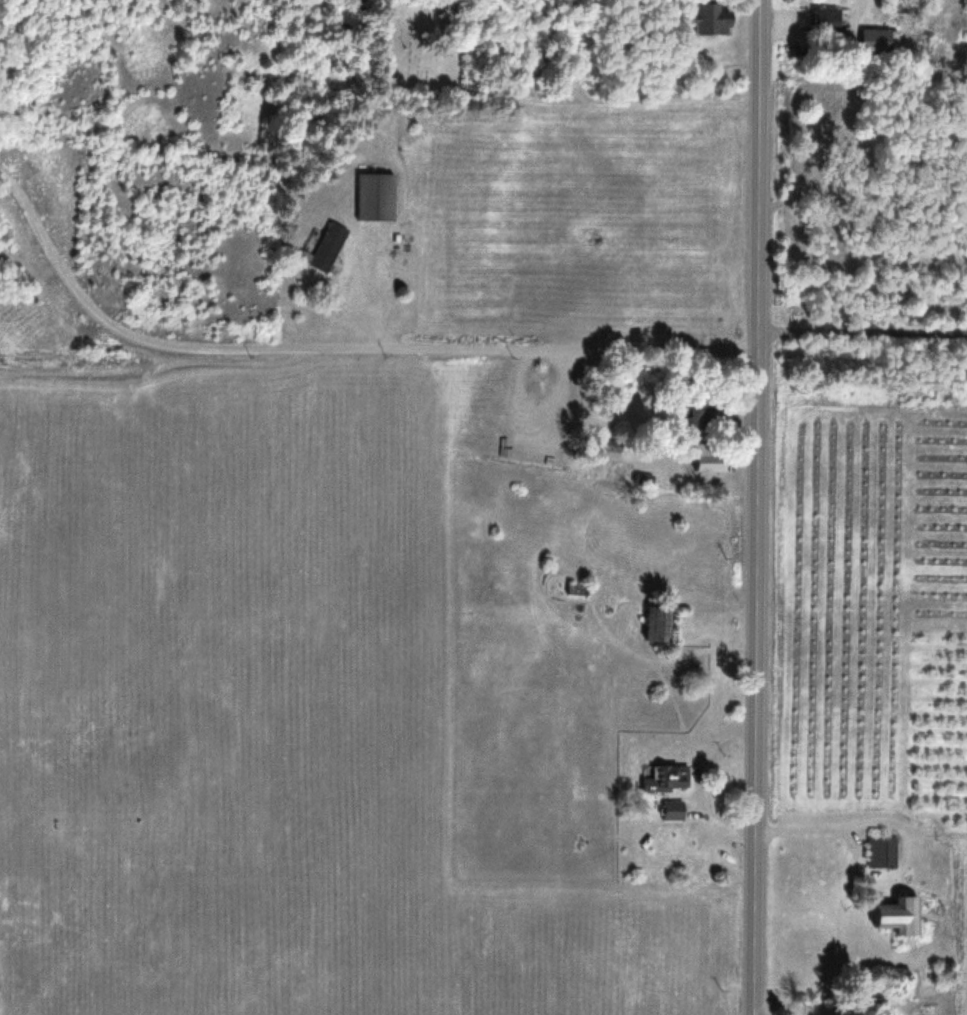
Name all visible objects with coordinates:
building: (716, 19)
building: (827, 19)
building: (878, 40)
road: (602, 99)
building: (851, 127)
building: (375, 197)
building: (327, 247)
road: (862, 331)
road: (335, 348)
building: (697, 409)
building: (706, 463)
road: (756, 507)
building: (578, 590)
building: (660, 624)
building: (664, 778)
building: (673, 810)
building: (882, 851)
building: (902, 916)

